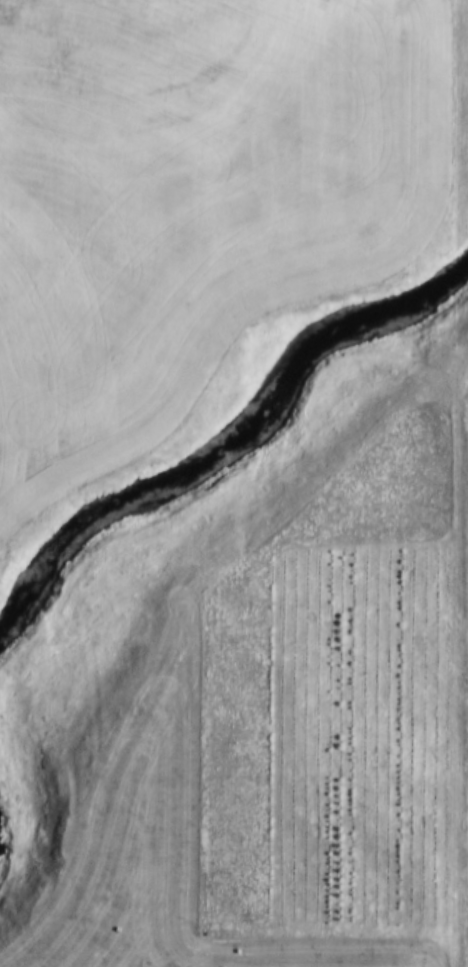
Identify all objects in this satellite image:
road: (466, 942)

